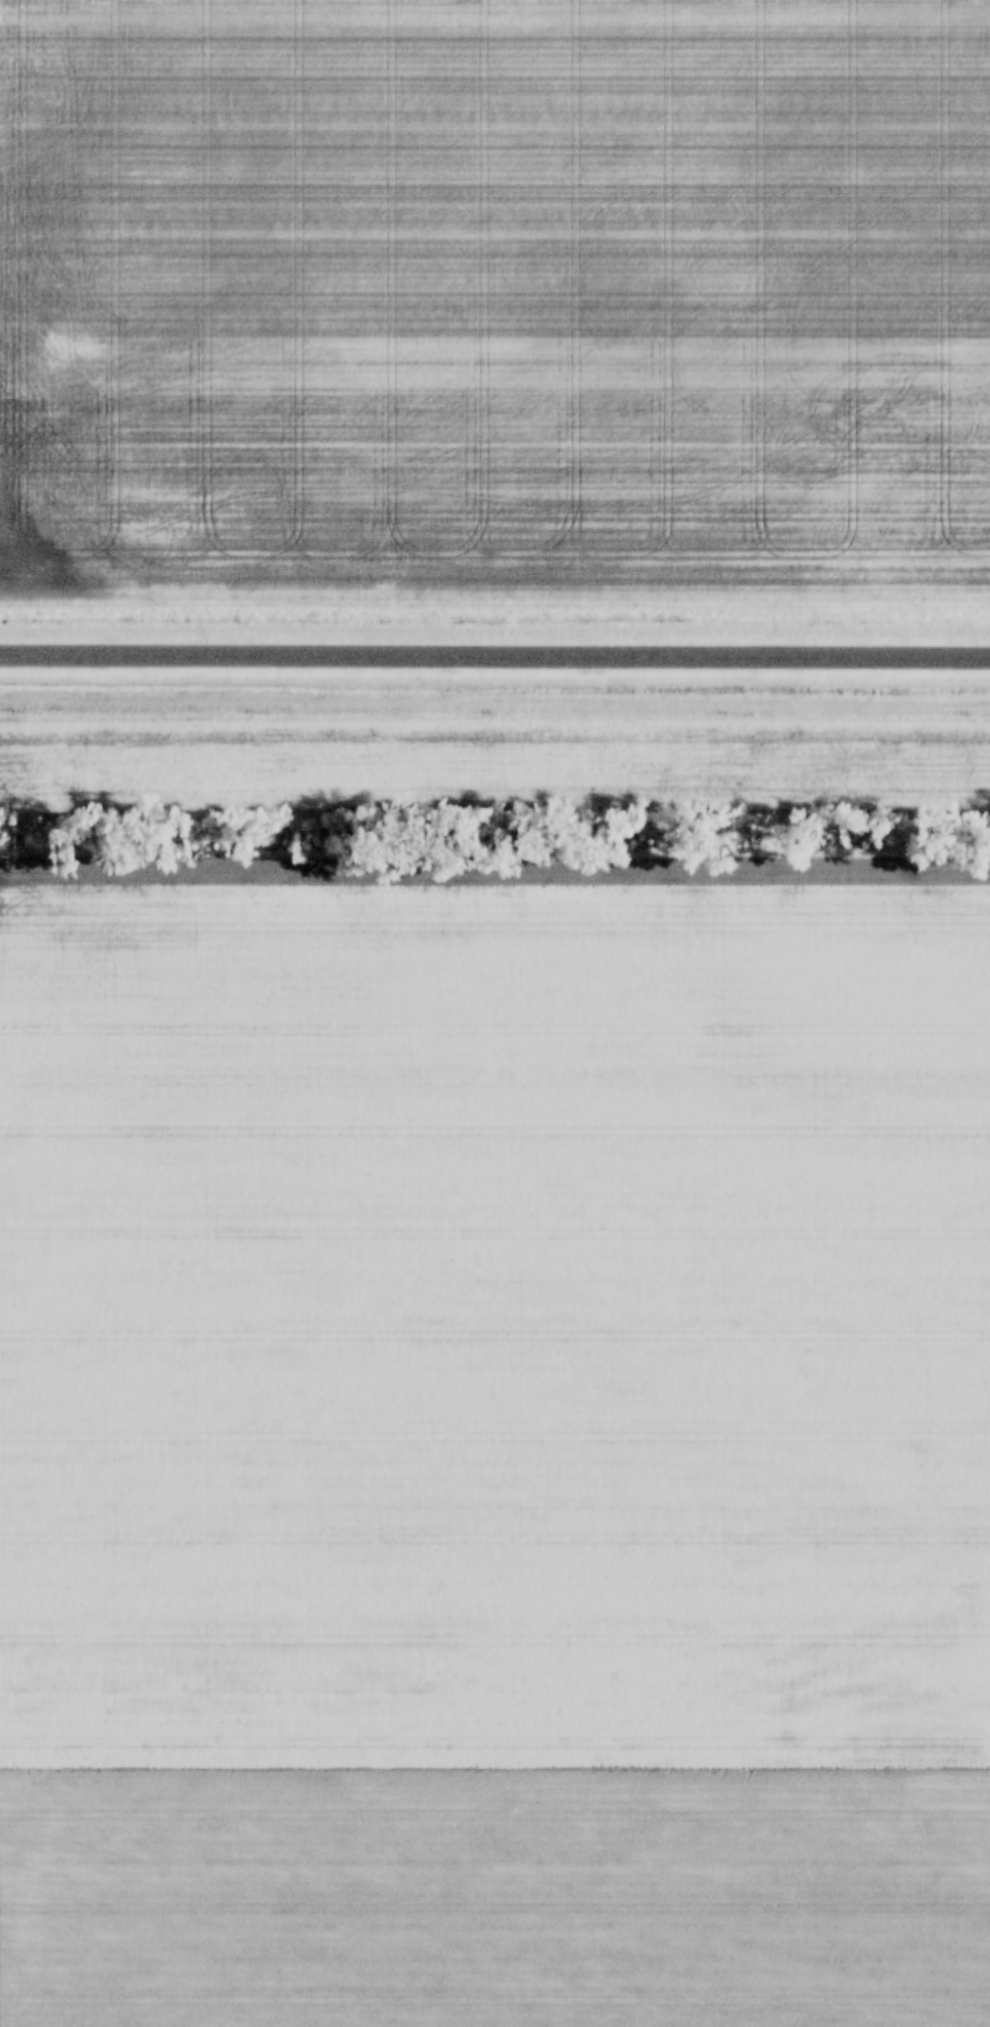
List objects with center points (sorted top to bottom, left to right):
road: (495, 657)

